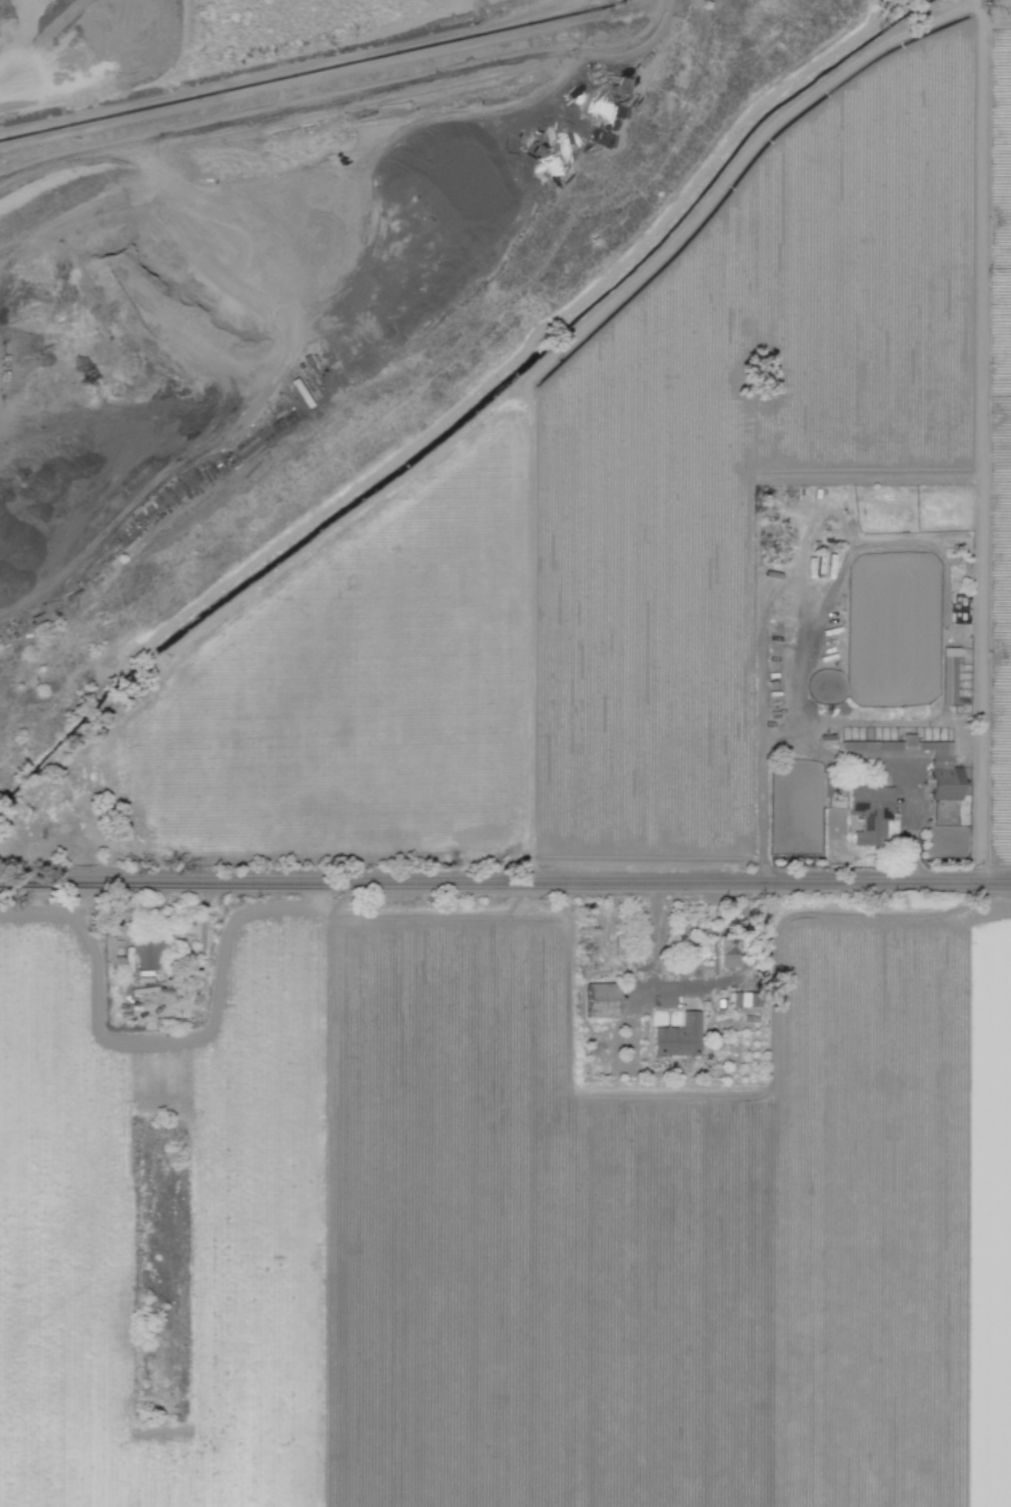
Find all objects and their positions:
quarry: (249, 233)
building: (949, 677)
road: (823, 750)
building: (942, 762)
building: (871, 814)
road: (505, 885)
building: (729, 951)
building: (149, 954)
road: (711, 983)
building: (602, 1000)
building: (679, 1037)

